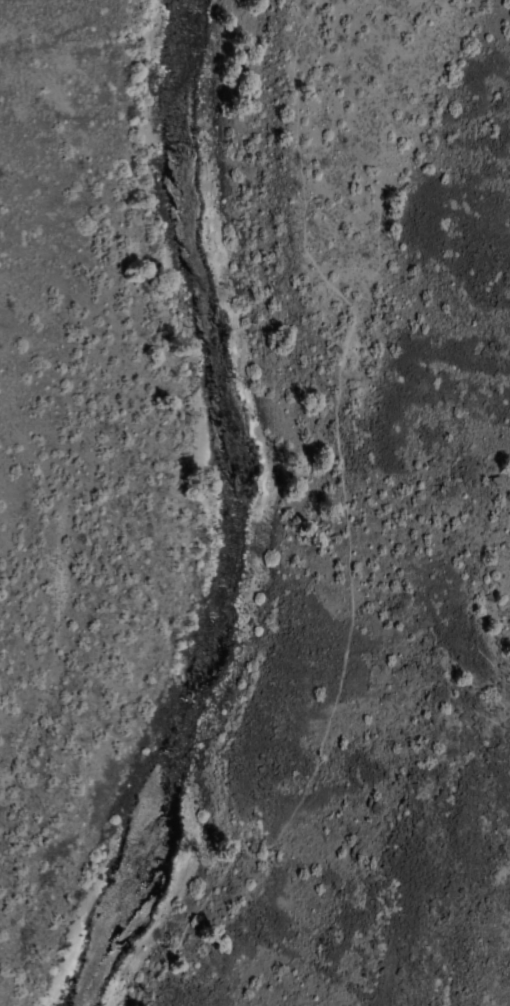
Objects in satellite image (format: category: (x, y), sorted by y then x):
road: (225, 46)
river: (225, 514)
road: (350, 540)

